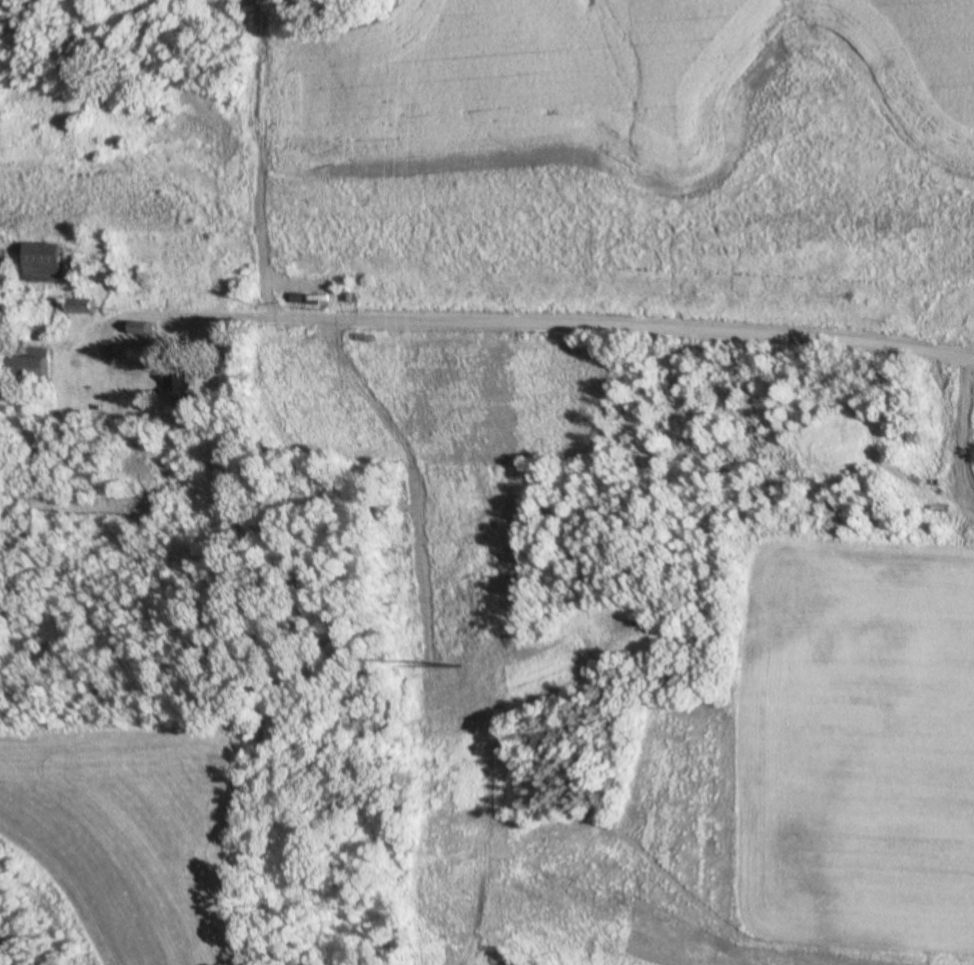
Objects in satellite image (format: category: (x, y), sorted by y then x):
building: (38, 261)
road: (513, 317)
building: (28, 365)
building: (181, 387)
power tower: (459, 665)

